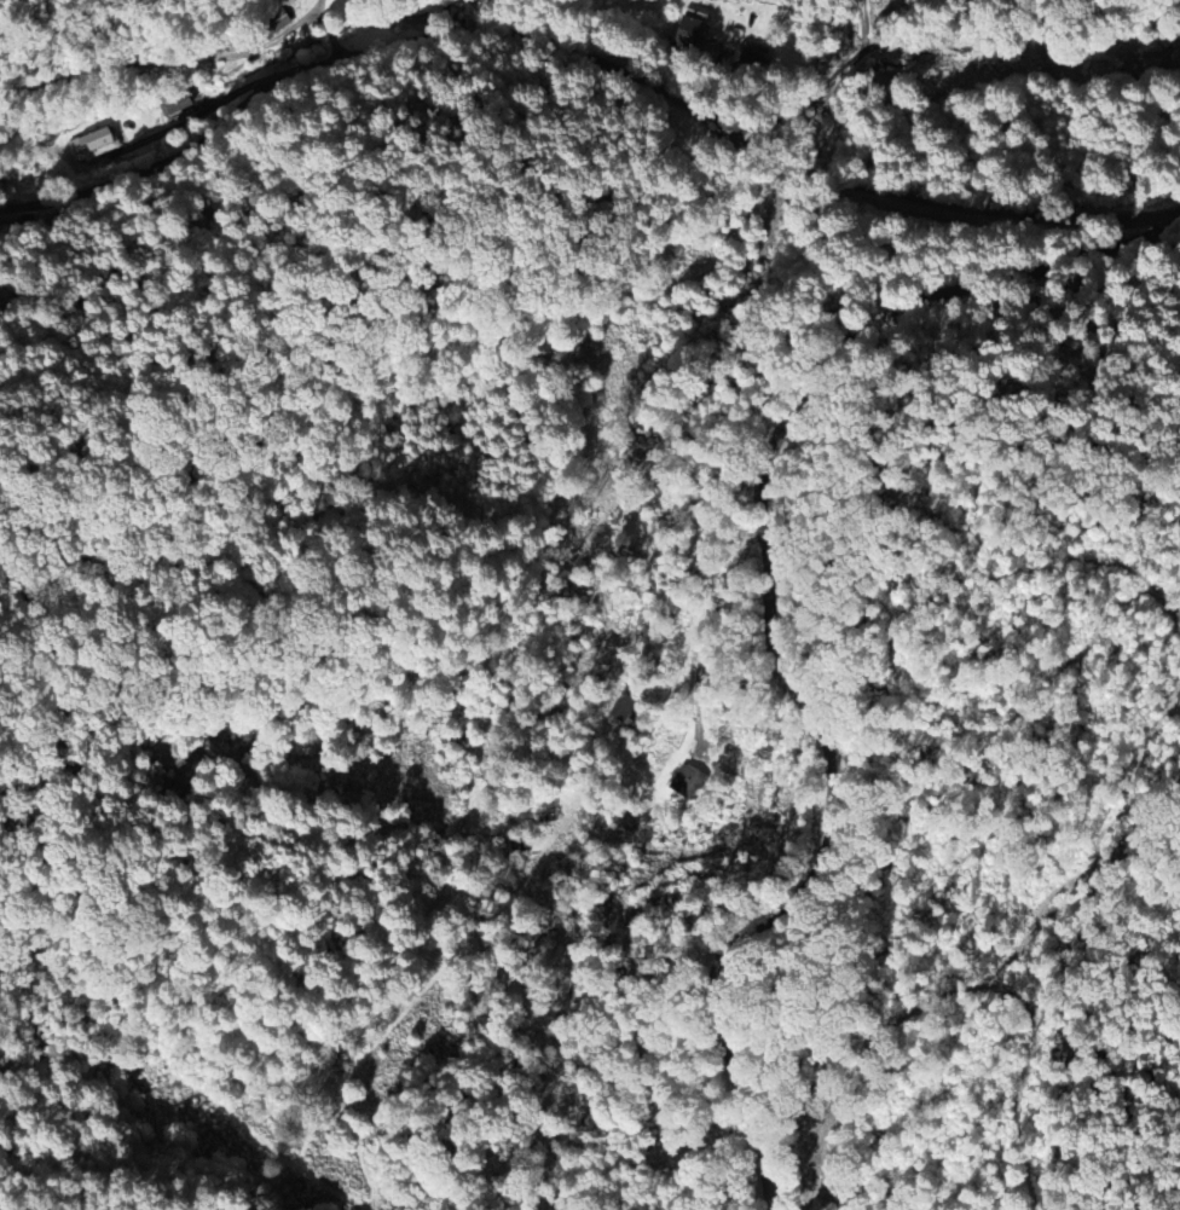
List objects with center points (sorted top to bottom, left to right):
river: (395, 11)
road: (862, 23)
building: (274, 28)
road: (582, 53)
river: (961, 56)
road: (851, 59)
river: (806, 104)
road: (767, 618)

